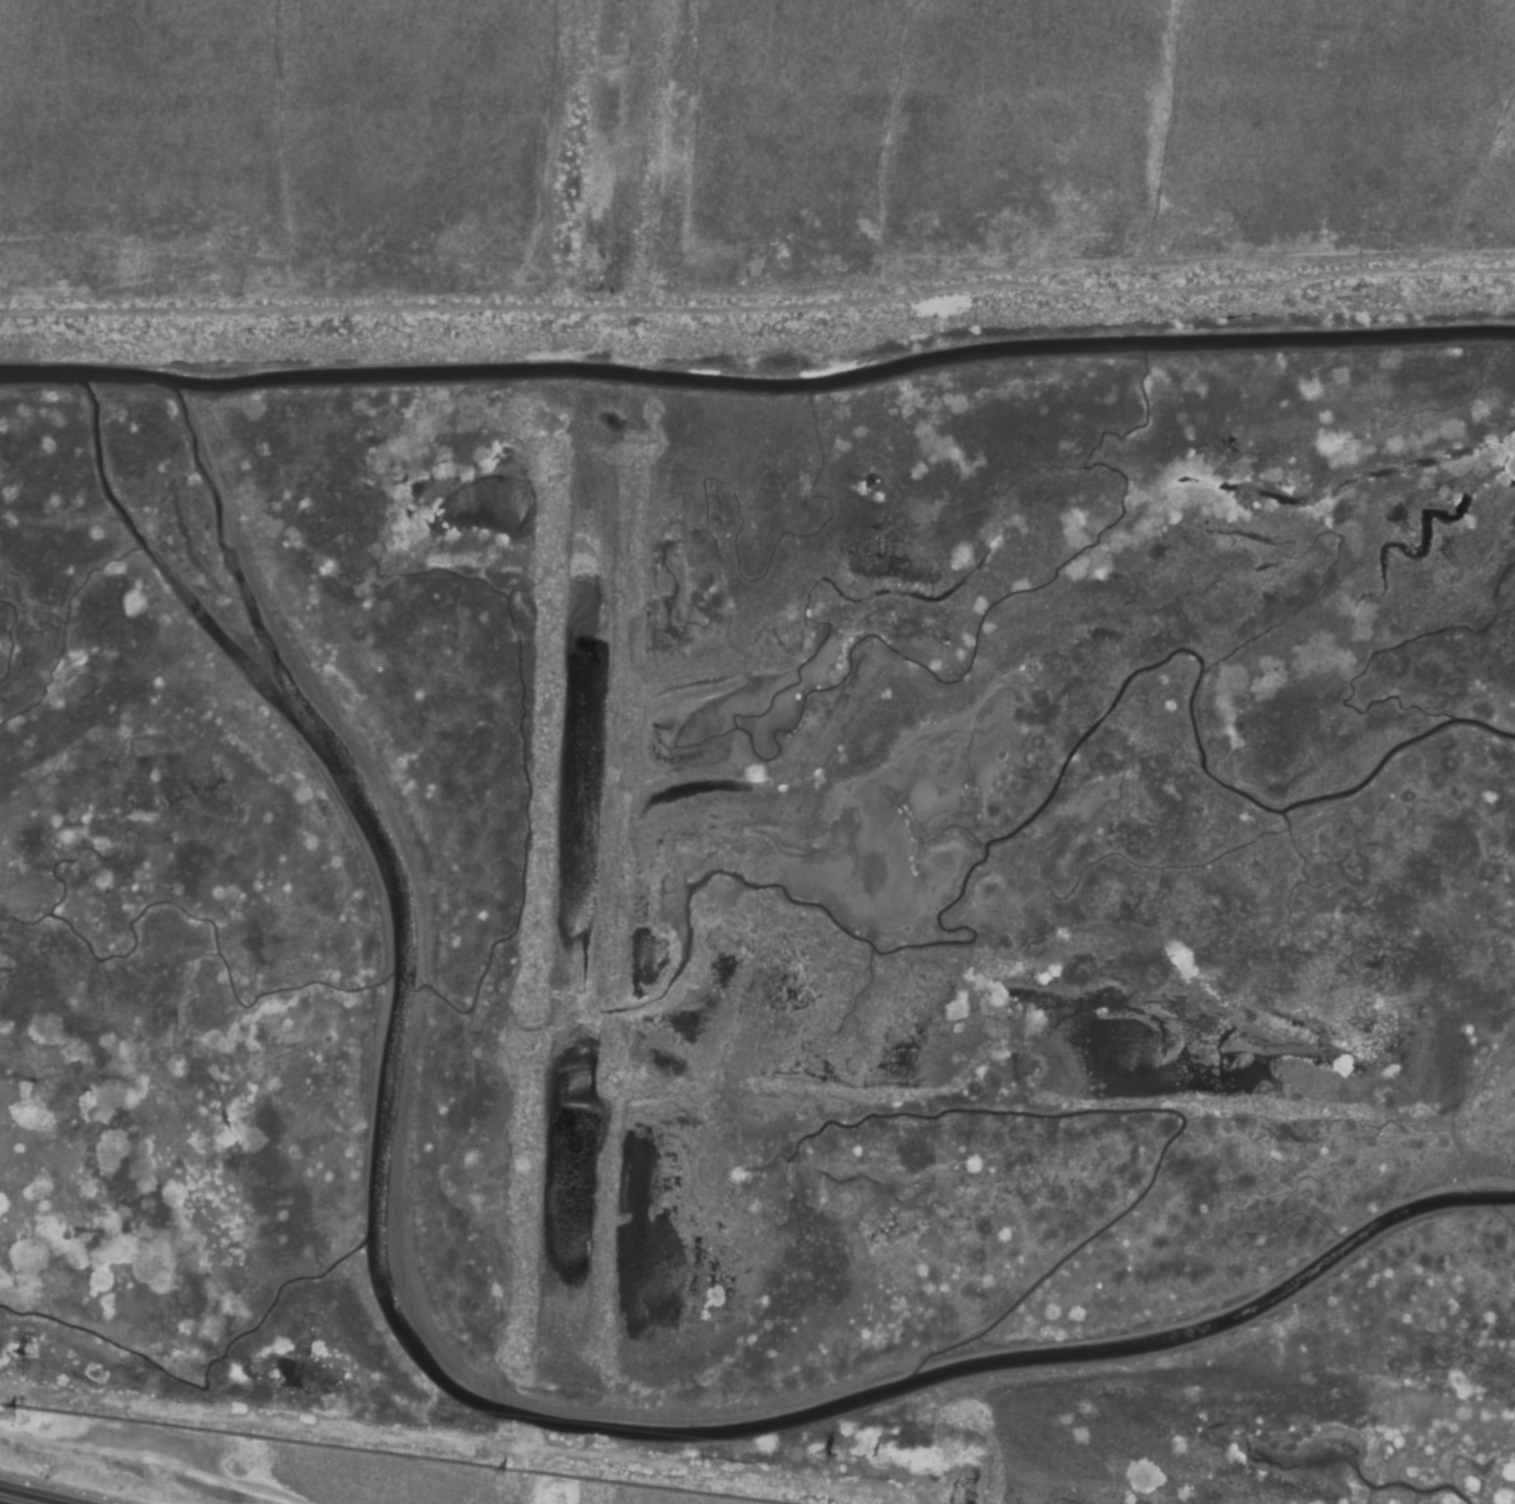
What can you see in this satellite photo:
power tower: (10, 1371)
power tower: (11, 1418)
power tower: (815, 1473)
power tower: (502, 1478)
road: (18, 1499)

